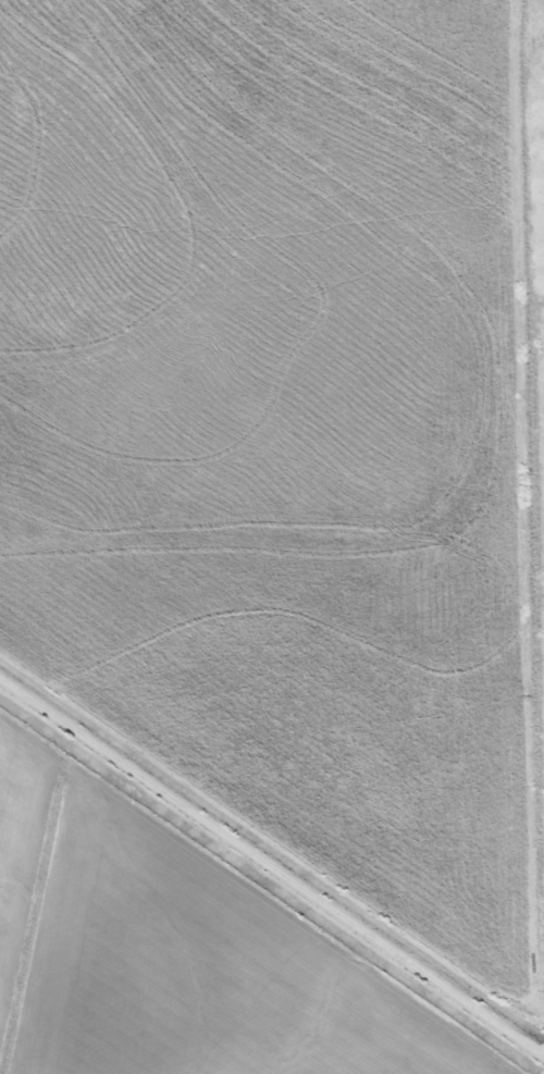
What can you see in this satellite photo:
road: (254, 898)

